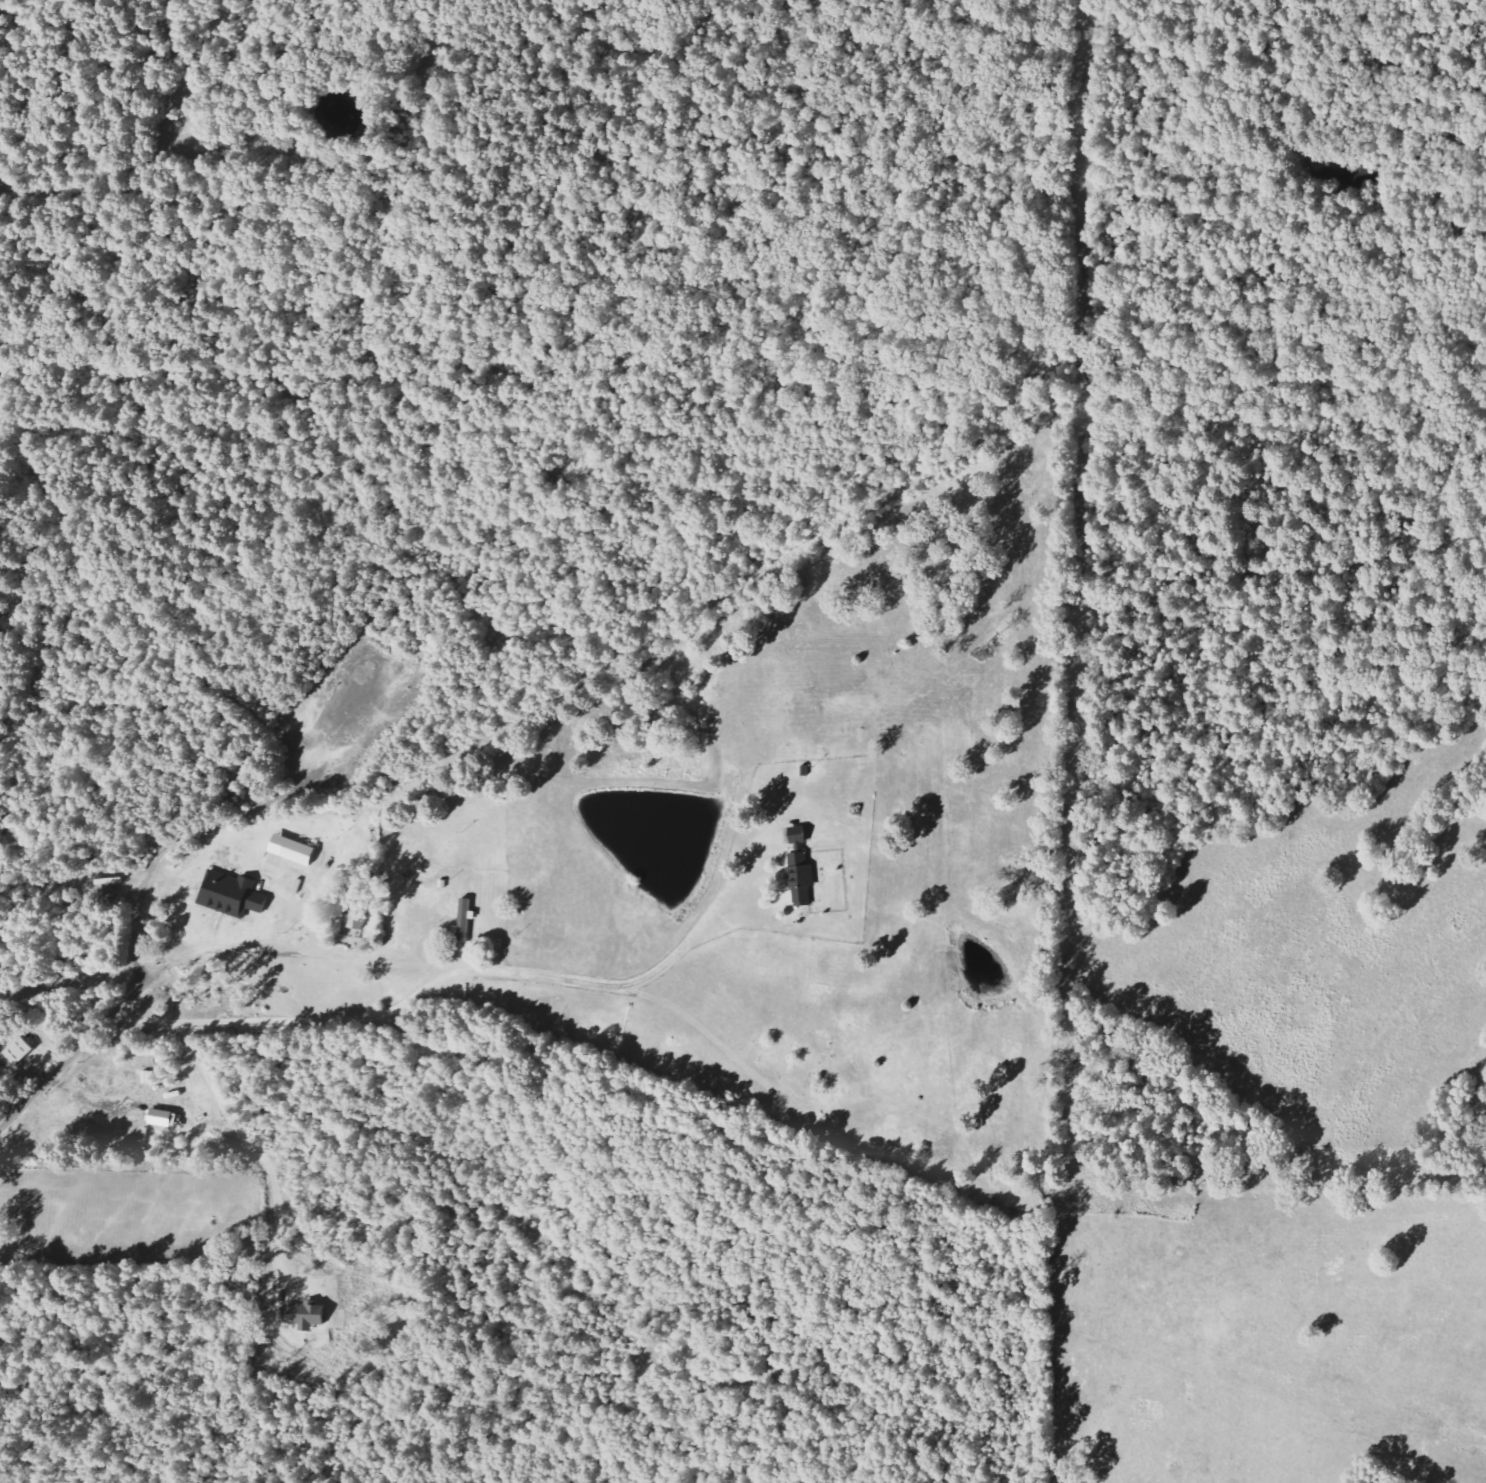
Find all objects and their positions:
building: (293, 849)
building: (801, 878)
building: (233, 895)
building: (358, 915)
road: (397, 1006)
building: (164, 1118)
building: (306, 1315)

